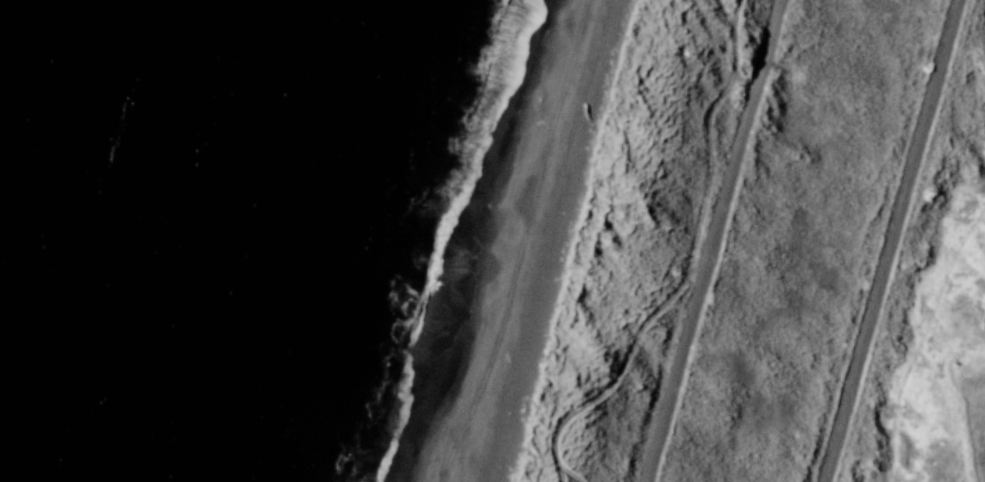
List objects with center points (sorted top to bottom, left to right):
road: (716, 241)
road: (894, 241)
road: (687, 261)

